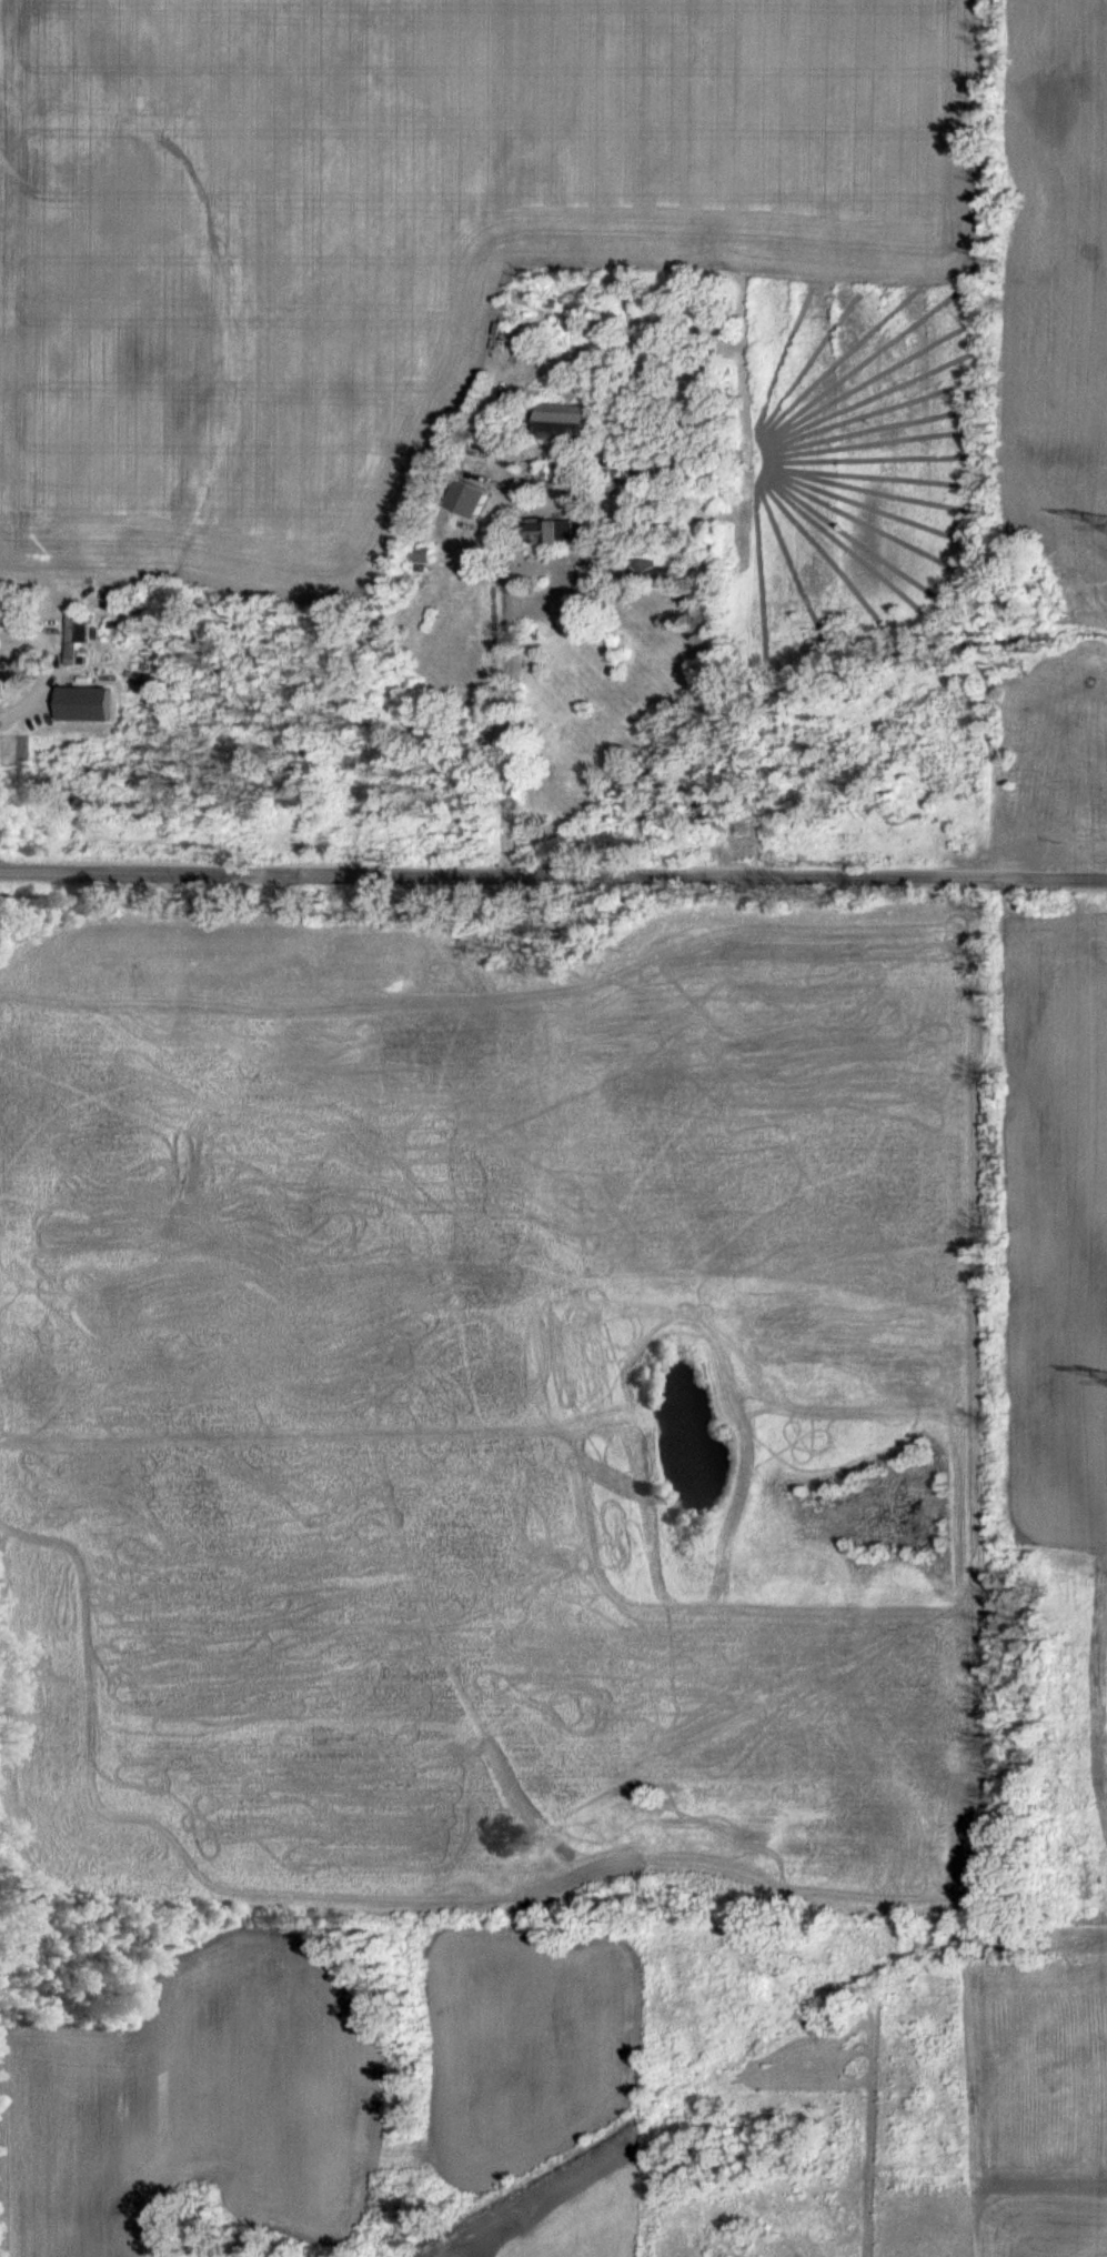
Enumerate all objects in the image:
building: (578, 422)
building: (554, 531)
building: (76, 645)
road: (507, 676)
road: (553, 866)

